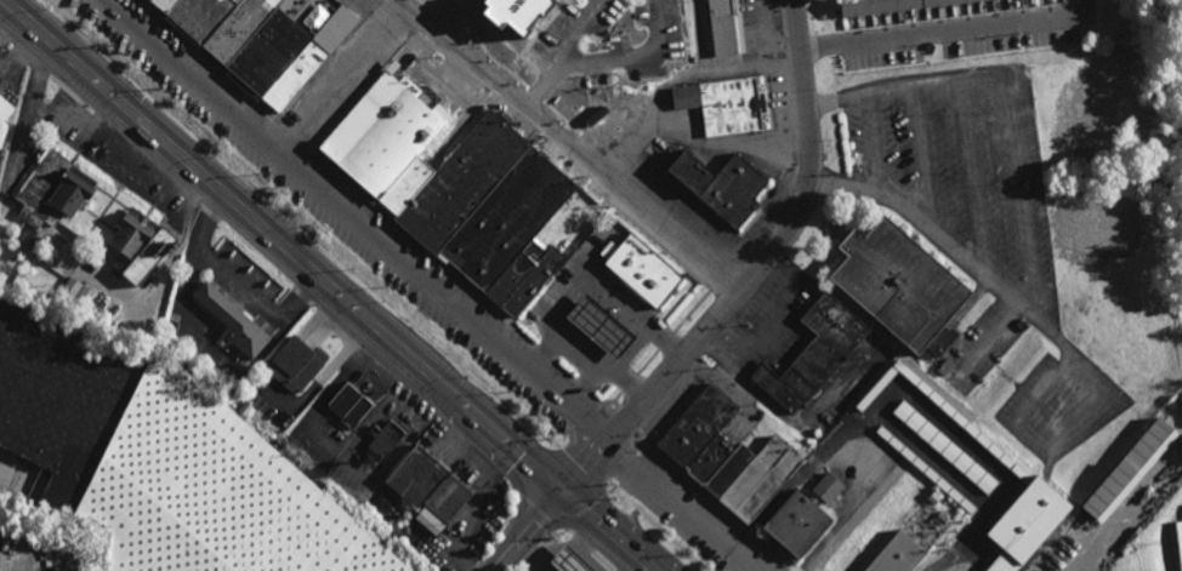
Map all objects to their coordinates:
building: (892, 6)
building: (518, 12)
road: (439, 13)
road: (8, 24)
road: (576, 27)
building: (723, 27)
road: (945, 30)
building: (252, 42)
road: (637, 59)
road: (339, 75)
road: (546, 82)
building: (724, 103)
building: (4, 120)
road: (873, 143)
road: (569, 144)
building: (721, 184)
building: (455, 187)
building: (52, 193)
road: (354, 218)
road: (1023, 222)
building: (132, 233)
road: (279, 249)
road: (424, 250)
building: (149, 257)
building: (641, 268)
road: (751, 275)
road: (603, 286)
building: (72, 287)
building: (902, 287)
building: (84, 297)
building: (233, 321)
building: (599, 326)
gas station: (599, 326)
road: (976, 344)
road: (584, 349)
road: (633, 349)
road: (545, 354)
building: (295, 364)
road: (563, 370)
road: (585, 382)
road: (583, 387)
building: (783, 387)
road: (413, 394)
road: (601, 401)
building: (351, 406)
road: (624, 422)
traffic signals: (610, 438)
building: (385, 442)
building: (721, 456)
building: (791, 456)
building: (158, 462)
road: (636, 466)
building: (1131, 472)
building: (430, 485)
road: (613, 487)
traffic signals: (558, 498)
road: (716, 502)
road: (686, 503)
road: (536, 508)
road: (584, 510)
building: (802, 518)
road: (569, 531)
road: (527, 533)
road: (599, 535)
road: (549, 537)
building: (1180, 538)
road: (583, 544)
building: (898, 548)
road: (532, 558)
road: (1089, 559)
building: (567, 561)
road: (602, 561)
road: (522, 569)
road: (0, 570)

